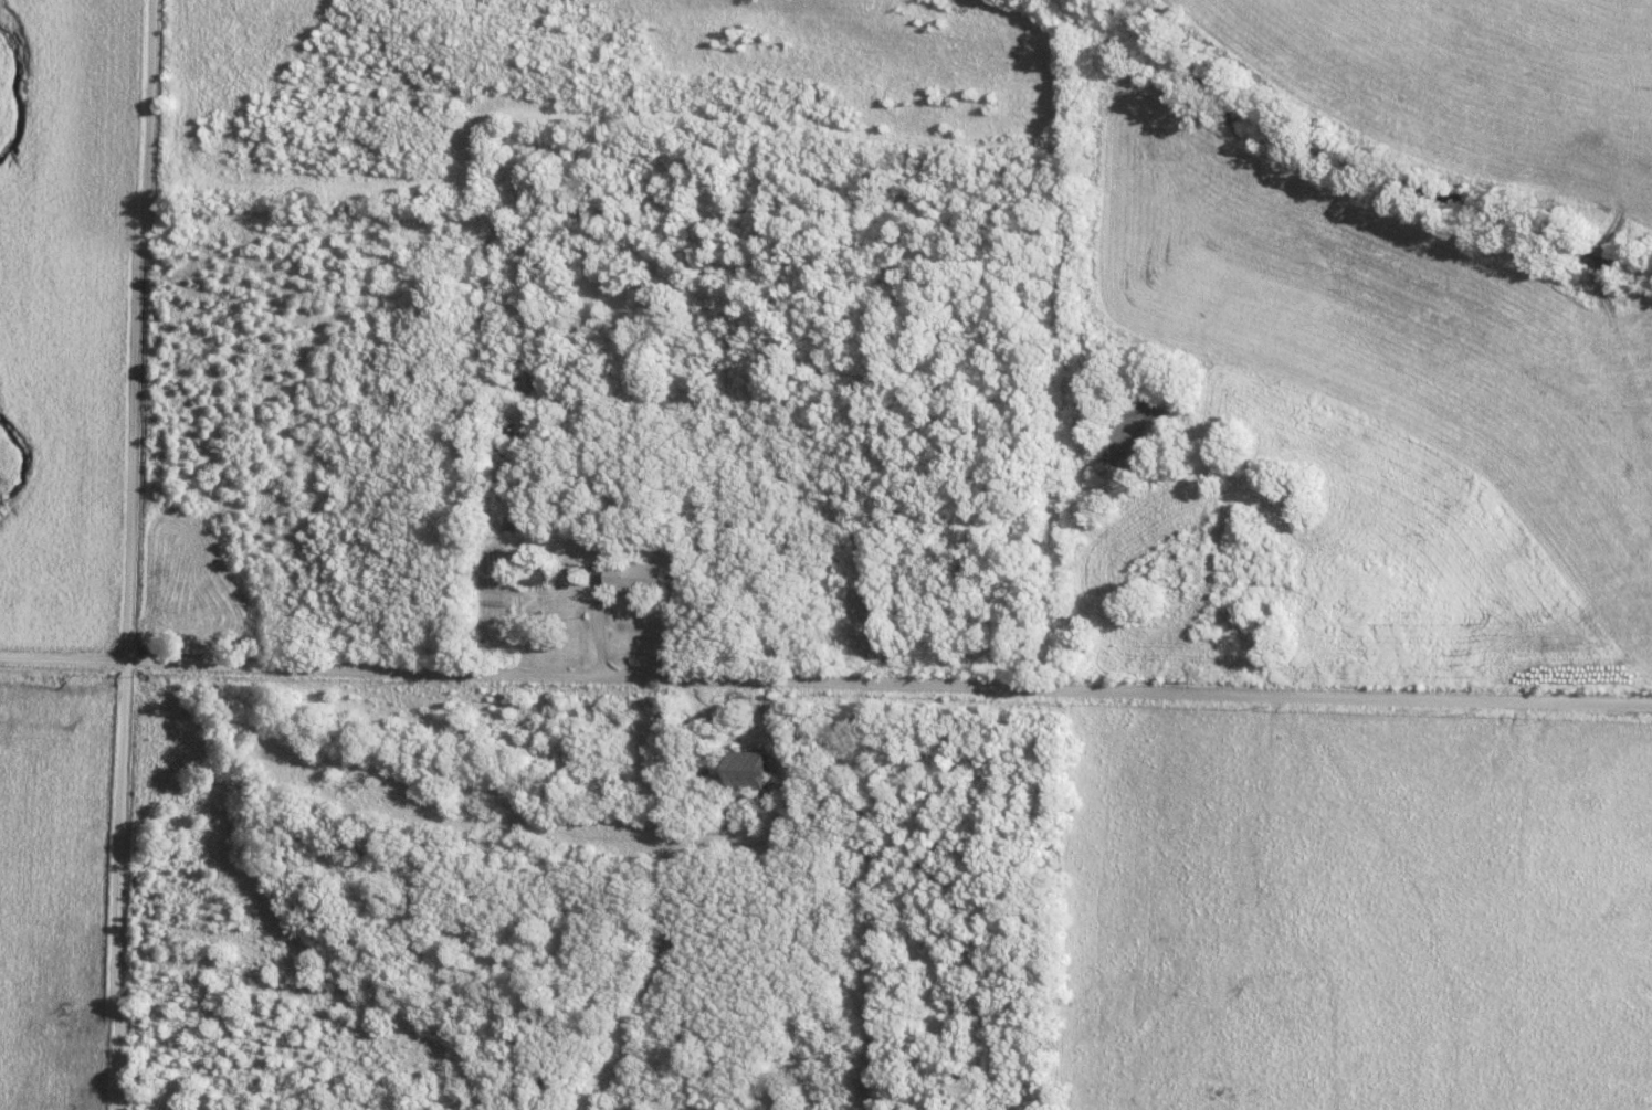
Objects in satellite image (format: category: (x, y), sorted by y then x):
building: (511, 524)
road: (130, 554)
building: (532, 573)
building: (634, 578)
road: (562, 594)
road: (825, 683)
building: (745, 771)

